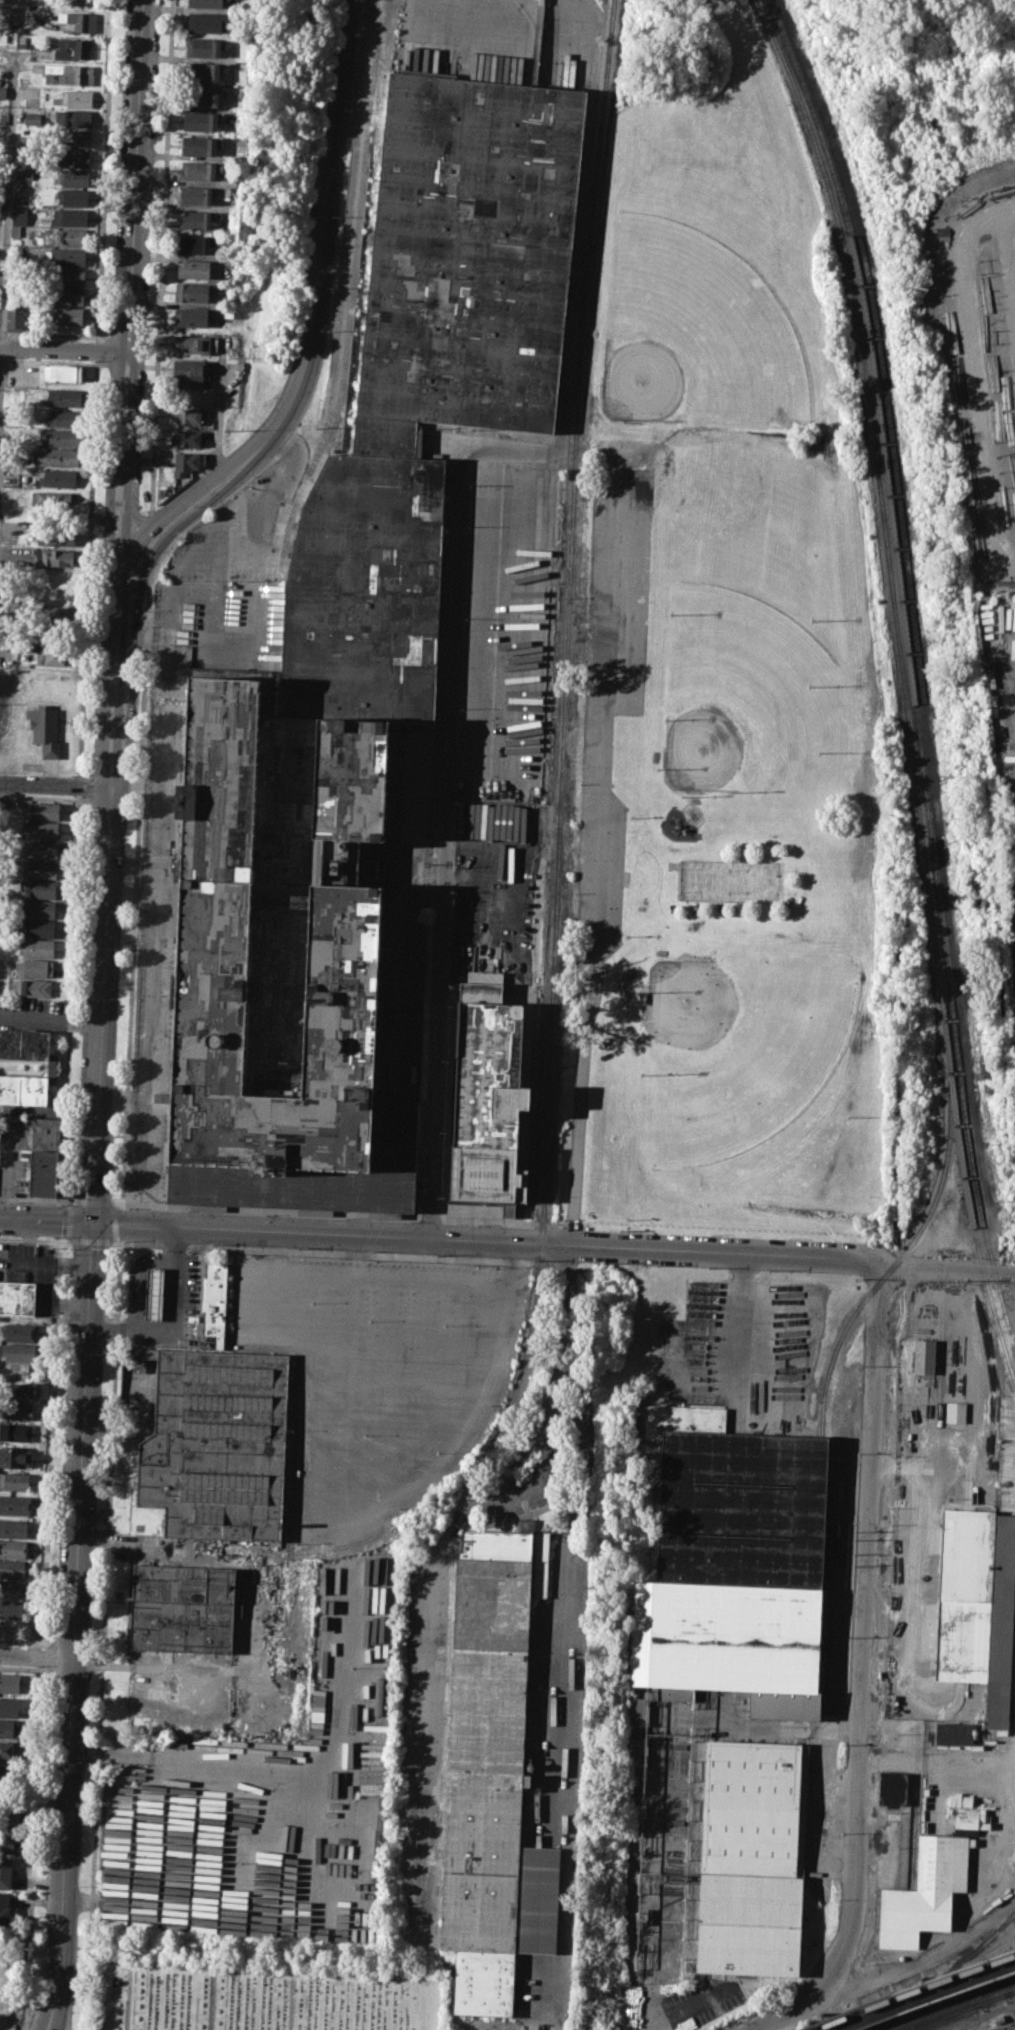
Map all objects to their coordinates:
road: (83, 0)
building: (206, 3)
road: (449, 13)
building: (12, 14)
building: (79, 20)
building: (206, 22)
building: (205, 46)
building: (75, 48)
building: (204, 71)
building: (69, 74)
building: (24, 80)
building: (2, 92)
building: (204, 95)
building: (75, 98)
building: (33, 117)
building: (74, 117)
building: (202, 119)
building: (73, 137)
building: (26, 143)
building: (202, 144)
building: (73, 157)
building: (201, 169)
building: (23, 173)
road: (134, 175)
building: (72, 176)
building: (196, 194)
building: (72, 196)
park: (272, 197)
building: (22, 198)
road: (103, 200)
road: (8, 206)
building: (20, 214)
building: (69, 217)
building: (196, 220)
building: (15, 231)
building: (70, 236)
building: (193, 242)
road: (322, 255)
building: (65, 256)
road: (161, 259)
building: (194, 268)
building: (69, 276)
building: (192, 292)
building: (70, 296)
building: (69, 315)
building: (191, 317)
building: (16, 318)
park: (696, 332)
road: (53, 334)
road: (126, 337)
road: (152, 339)
building: (192, 343)
road: (63, 348)
road: (97, 350)
road: (52, 361)
road: (124, 364)
road: (150, 366)
building: (63, 372)
building: (189, 373)
road: (972, 374)
building: (64, 396)
road: (220, 408)
building: (186, 415)
building: (64, 417)
building: (58, 437)
building: (186, 437)
building: (58, 456)
building: (185, 462)
road: (112, 468)
road: (129, 468)
building: (57, 478)
building: (10, 479)
building: (51, 498)
park: (733, 502)
road: (119, 504)
road: (146, 518)
road: (156, 523)
building: (57, 535)
building: (54, 557)
road: (88, 568)
traffic signals: (116, 588)
building: (56, 595)
building: (54, 615)
road: (136, 621)
building: (50, 653)
railway: (910, 668)
building: (358, 673)
parking lot: (612, 679)
railway: (903, 684)
road: (120, 686)
road: (105, 687)
park: (733, 696)
park: (751, 698)
building: (45, 728)
railway: (917, 764)
road: (55, 784)
road: (79, 785)
road: (139, 789)
road: (39, 797)
building: (42, 810)
building: (41, 829)
road: (588, 847)
building: (41, 848)
building: (40, 868)
park: (728, 880)
building: (38, 887)
building: (38, 907)
building: (36, 927)
building: (36, 947)
building: (36, 967)
building: (33, 987)
railway: (552, 992)
road: (70, 997)
road: (100, 1003)
building: (34, 1007)
road: (50, 1021)
road: (437, 1024)
railway: (539, 1041)
building: (24, 1043)
park: (737, 1050)
building: (23, 1089)
building: (490, 1092)
road: (47, 1110)
building: (44, 1132)
building: (43, 1173)
road: (35, 1198)
road: (271, 1210)
road: (44, 1218)
road: (430, 1219)
road: (505, 1221)
road: (33, 1239)
road: (113, 1241)
road: (552, 1245)
road: (334, 1251)
railway: (906, 1251)
road: (134, 1278)
building: (155, 1293)
building: (17, 1297)
building: (214, 1297)
road: (167, 1315)
road: (740, 1320)
building: (19, 1331)
building: (18, 1352)
building: (923, 1355)
parking lot: (377, 1371)
building: (23, 1390)
building: (18, 1409)
building: (955, 1411)
road: (542, 1427)
building: (16, 1430)
road: (51, 1441)
building: (217, 1444)
building: (16, 1456)
building: (15, 1480)
building: (15, 1504)
building: (13, 1528)
railway: (371, 1538)
building: (13, 1548)
building: (736, 1564)
building: (13, 1569)
building: (12, 1589)
building: (966, 1596)
building: (11, 1609)
building: (182, 1609)
building: (1002, 1624)
road: (74, 1626)
road: (23, 1641)
road: (557, 1650)
road: (36, 1653)
road: (40, 1656)
road: (864, 1668)
building: (10, 1682)
building: (9, 1706)
building: (634, 1711)
building: (8, 1728)
building: (955, 1736)
building: (8, 1749)
building: (633, 1751)
building: (6, 1773)
building: (492, 1781)
building: (893, 1788)
building: (13, 1821)
building: (8, 1844)
road: (32, 1847)
building: (754, 1858)
building: (5, 1873)
building: (926, 1893)
building: (4, 1908)
railway: (1014, 1915)
railway: (937, 1980)
railway: (996, 1985)
railway: (911, 1990)
railway: (1010, 1991)
building: (3, 1994)
railway: (926, 1996)
railway: (995, 1996)
park: (262, 1998)
road: (127, 2000)
road: (210, 2002)
road: (290, 2003)
railway: (945, 2004)
railway: (936, 2016)
railway: (939, 2016)

